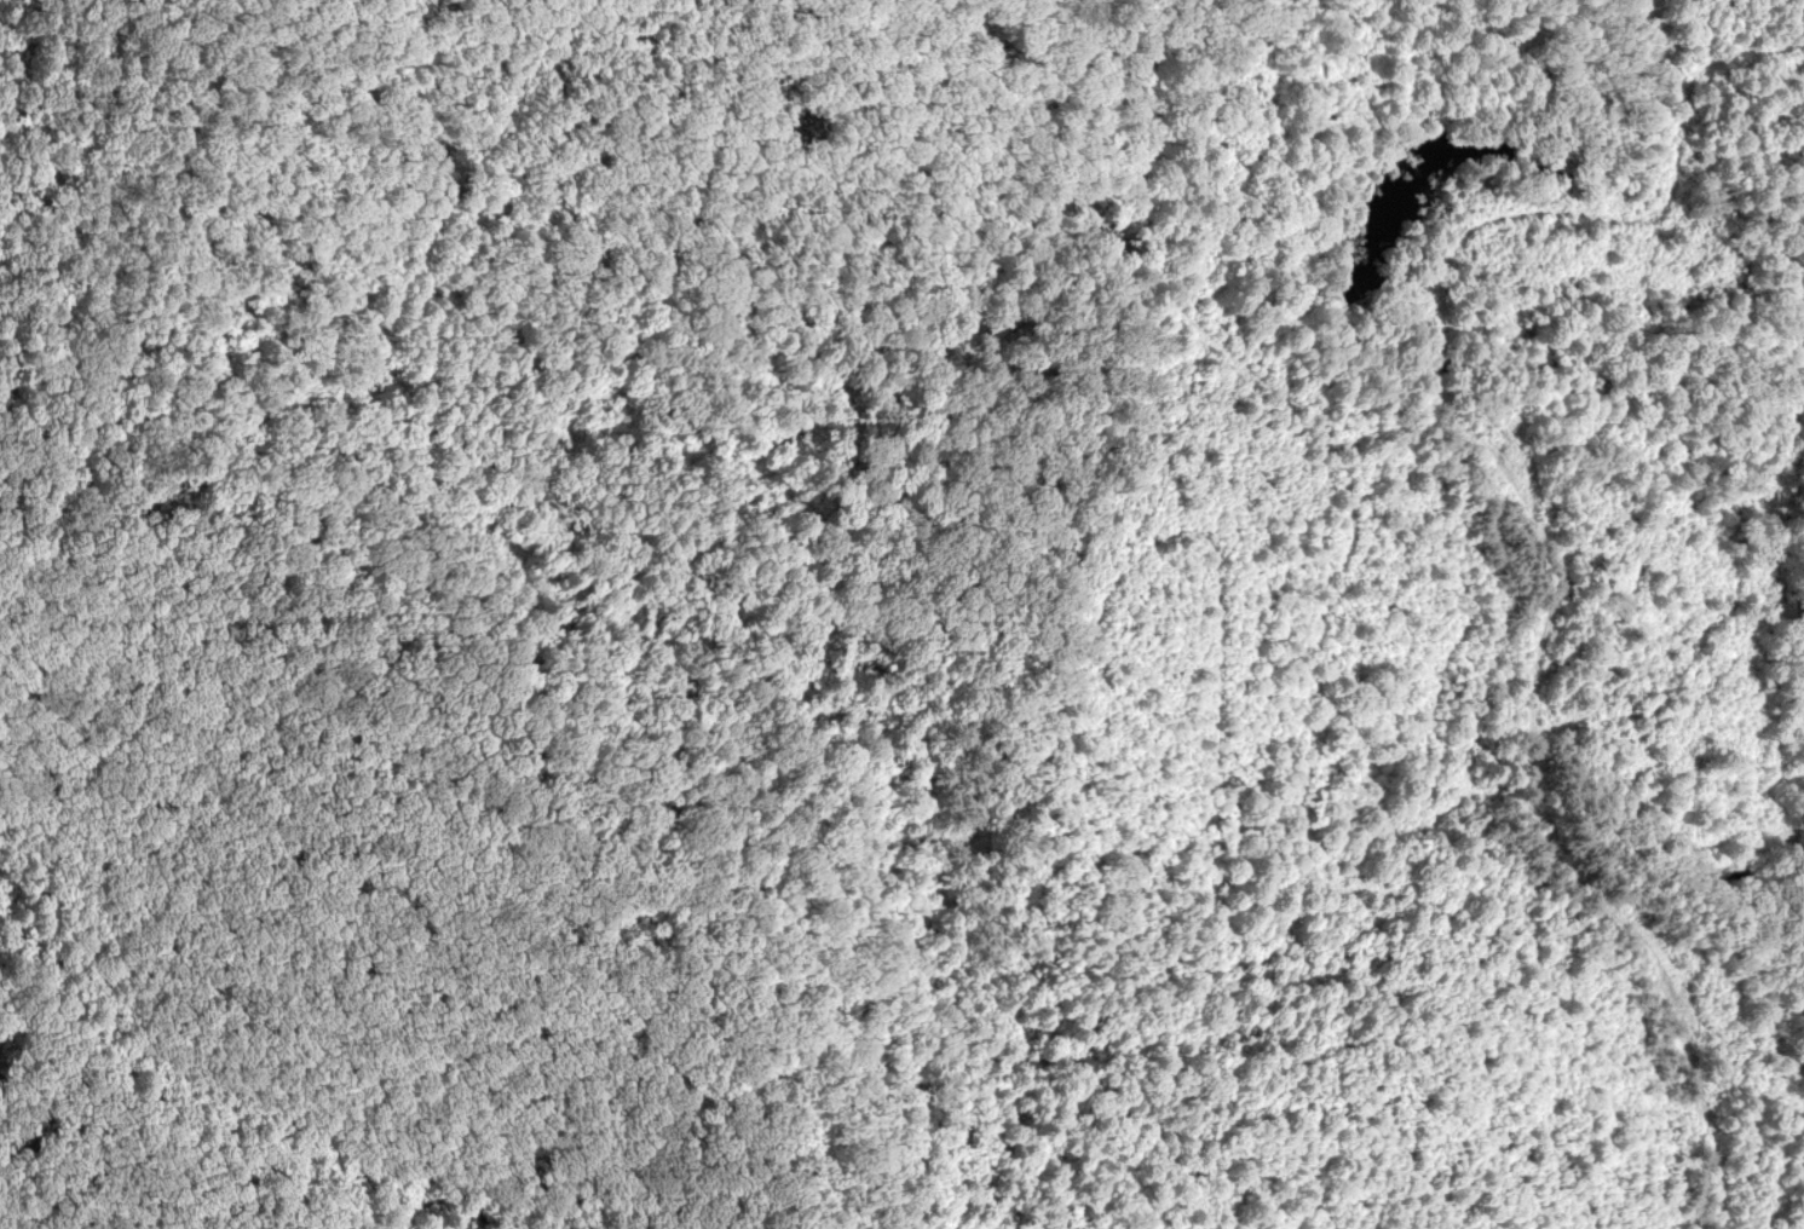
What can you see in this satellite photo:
road: (1597, 214)

